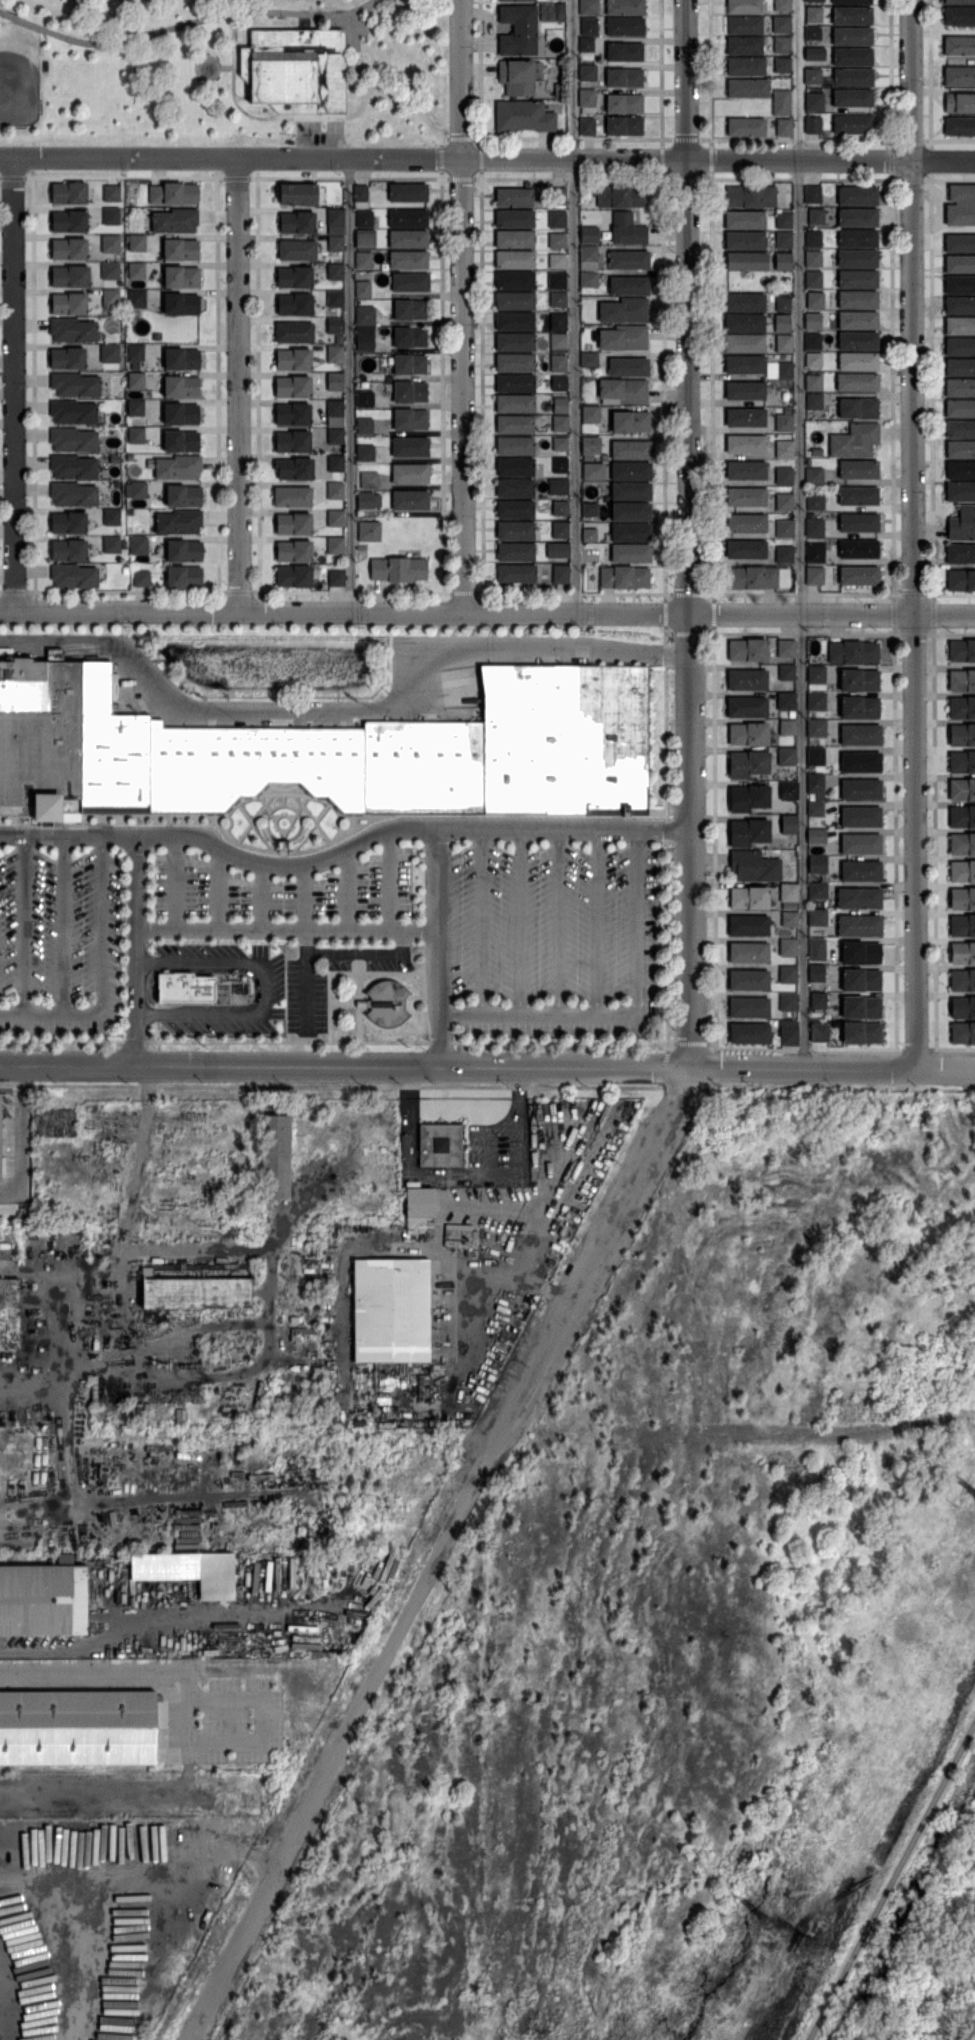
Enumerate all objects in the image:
building: (516, 0)
building: (813, 1)
building: (851, 2)
building: (959, 2)
building: (782, 5)
road: (356, 6)
building: (588, 7)
building: (624, 7)
building: (743, 7)
building: (559, 8)
road: (267, 11)
building: (813, 15)
building: (852, 16)
building: (959, 16)
building: (743, 25)
building: (781, 25)
building: (625, 26)
building: (589, 27)
building: (518, 30)
building: (812, 34)
building: (851, 36)
building: (586, 45)
building: (781, 45)
building: (743, 46)
building: (958, 46)
building: (624, 52)
building: (852, 57)
building: (782, 65)
building: (746, 67)
building: (295, 70)
park: (225, 71)
building: (587, 73)
building: (812, 76)
building: (519, 77)
building: (959, 77)
building: (624, 78)
building: (853, 78)
building: (748, 88)
building: (587, 98)
building: (852, 98)
building: (813, 102)
building: (959, 103)
building: (624, 104)
building: (781, 106)
building: (523, 116)
building: (853, 125)
building: (624, 126)
building: (812, 126)
building: (587, 127)
building: (745, 127)
building: (783, 127)
building: (959, 127)
road: (487, 159)
building: (407, 192)
building: (69, 193)
building: (111, 194)
building: (173, 194)
building: (298, 194)
building: (812, 195)
building: (555, 196)
building: (621, 196)
building: (857, 196)
building: (361, 197)
building: (750, 197)
building: (514, 198)
building: (960, 205)
building: (111, 216)
building: (335, 217)
building: (815, 217)
building: (857, 217)
building: (364, 218)
building: (408, 219)
building: (515, 219)
building: (557, 219)
building: (744, 220)
building: (175, 221)
building: (783, 221)
building: (69, 222)
building: (297, 222)
building: (625, 229)
building: (857, 238)
building: (365, 239)
building: (408, 239)
building: (813, 239)
building: (514, 240)
building: (556, 240)
building: (744, 241)
building: (783, 241)
building: (136, 243)
building: (959, 243)
building: (110, 244)
building: (336, 244)
building: (69, 249)
building: (180, 250)
building: (297, 250)
building: (588, 254)
building: (813, 259)
building: (857, 259)
building: (408, 260)
building: (515, 260)
building: (628, 260)
building: (363, 261)
building: (557, 261)
building: (746, 262)
building: (782, 262)
building: (960, 264)
building: (109, 271)
building: (136, 271)
building: (335, 272)
building: (70, 276)
building: (294, 277)
building: (182, 278)
building: (588, 279)
building: (812, 279)
building: (857, 279)
building: (514, 280)
building: (556, 281)
building: (409, 282)
building: (959, 284)
building: (629, 285)
building: (362, 289)
building: (110, 298)
building: (136, 299)
building: (335, 299)
building: (558, 299)
building: (814, 300)
building: (857, 300)
building: (515, 301)
building: (744, 303)
building: (68, 304)
building: (181, 304)
road: (462, 304)
building: (783, 304)
building: (294, 305)
road: (574, 305)
road: (687, 305)
building: (960, 305)
building: (409, 309)
building: (623, 310)
building: (364, 316)
building: (857, 320)
building: (514, 322)
building: (558, 322)
building: (812, 322)
building: (743, 323)
building: (782, 323)
building: (960, 326)
building: (335, 327)
building: (71, 330)
building: (294, 333)
building: (156, 337)
building: (409, 337)
building: (623, 337)
building: (337, 340)
building: (558, 341)
building: (812, 341)
building: (857, 341)
building: (364, 342)
building: (515, 342)
building: (744, 344)
building: (960, 346)
building: (110, 354)
building: (335, 354)
building: (135, 355)
building: (67, 358)
building: (181, 359)
building: (293, 359)
building: (588, 359)
building: (812, 360)
building: (857, 361)
building: (515, 363)
building: (558, 363)
building: (409, 364)
building: (744, 364)
building: (628, 367)
building: (960, 367)
building: (784, 370)
building: (136, 380)
building: (336, 381)
building: (856, 381)
road: (12, 383)
building: (515, 383)
building: (813, 383)
road: (238, 384)
road: (349, 384)
building: (559, 384)
building: (75, 385)
building: (181, 387)
building: (292, 387)
building: (959, 388)
building: (622, 391)
building: (744, 391)
building: (409, 392)
building: (364, 399)
building: (814, 401)
building: (515, 404)
building: (136, 407)
building: (858, 408)
building: (959, 408)
building: (334, 409)
building: (73, 412)
building: (809, 413)
building: (181, 414)
building: (292, 414)
building: (590, 414)
building: (745, 418)
building: (409, 419)
building: (629, 422)
building: (783, 422)
building: (560, 423)
building: (514, 425)
building: (365, 426)
building: (959, 429)
building: (136, 435)
building: (335, 436)
building: (73, 440)
building: (854, 440)
building: (181, 442)
building: (292, 442)
building: (560, 444)
building: (745, 444)
building: (515, 446)
building: (409, 447)
building: (784, 449)
building: (960, 449)
building: (631, 450)
building: (816, 452)
building: (365, 453)
building: (115, 459)
building: (807, 462)
building: (335, 464)
building: (559, 465)
building: (73, 467)
building: (177, 467)
building: (515, 467)
building: (293, 468)
building: (858, 469)
building: (960, 470)
building: (631, 471)
building: (745, 471)
building: (409, 473)
building: (813, 475)
building: (783, 476)
building: (369, 481)
building: (116, 484)
building: (558, 487)
building: (515, 489)
building: (138, 490)
building: (334, 491)
building: (630, 491)
building: (960, 491)
building: (73, 495)
building: (858, 496)
building: (182, 497)
building: (292, 497)
building: (745, 497)
building: (367, 500)
building: (409, 500)
building: (814, 502)
building: (784, 503)
building: (515, 509)
building: (560, 509)
building: (589, 510)
building: (630, 511)
building: (111, 517)
building: (335, 518)
building: (745, 522)
building: (178, 523)
building: (858, 523)
building: (68, 524)
building: (293, 524)
building: (962, 524)
building: (814, 527)
building: (784, 529)
building: (560, 530)
building: (515, 531)
building: (630, 532)
road: (800, 535)
road: (915, 535)
building: (584, 539)
building: (111, 545)
building: (137, 546)
building: (334, 546)
building: (362, 548)
building: (858, 549)
building: (68, 550)
building: (557, 550)
building: (746, 550)
building: (183, 551)
building: (294, 551)
building: (515, 552)
building: (814, 553)
building: (631, 554)
building: (784, 554)
building: (960, 554)
building: (590, 556)
building: (398, 569)
building: (125, 571)
building: (516, 574)
building: (560, 574)
building: (73, 576)
building: (814, 576)
building: (858, 576)
building: (183, 577)
building: (293, 577)
building: (623, 577)
building: (336, 578)
building: (752, 578)
building: (141, 579)
building: (960, 581)
road: (344, 610)
road: (832, 611)
building: (786, 649)
building: (747, 650)
building: (961, 651)
building: (852, 652)
building: (787, 673)
building: (816, 675)
building: (858, 680)
building: (747, 681)
building: (961, 681)
building: (785, 701)
building: (816, 701)
building: (747, 707)
building: (859, 708)
building: (962, 708)
road: (343, 710)
building: (787, 728)
building: (816, 728)
building: (748, 735)
building: (859, 735)
building: (961, 735)
building: (330, 751)
building: (786, 756)
building: (815, 756)
building: (861, 763)
building: (961, 763)
building: (747, 764)
building: (815, 782)
building: (962, 789)
building: (860, 790)
building: (788, 791)
building: (748, 798)
building: (815, 809)
building: (773, 810)
building: (860, 817)
building: (962, 817)
building: (788, 824)
road: (563, 828)
building: (748, 832)
road: (67, 834)
building: (816, 836)
road: (690, 839)
building: (860, 844)
building: (962, 844)
road: (286, 864)
building: (817, 864)
building: (753, 866)
building: (861, 872)
building: (962, 872)
road: (389, 879)
road: (174, 881)
road: (218, 888)
road: (347, 889)
building: (817, 891)
building: (788, 893)
road: (261, 896)
building: (749, 898)
building: (858, 898)
building: (962, 899)
building: (816, 917)
building: (789, 919)
road: (482, 920)
road: (520, 920)
road: (558, 921)
road: (597, 921)
road: (24, 923)
road: (63, 923)
building: (748, 926)
building: (859, 926)
building: (962, 926)
road: (286, 929)
road: (637, 941)
road: (101, 942)
road: (306, 946)
building: (787, 947)
road: (438, 948)
road: (135, 950)
building: (748, 953)
building: (859, 953)
building: (962, 953)
road: (366, 954)
building: (811, 958)
parking lot: (544, 968)
building: (816, 973)
building: (787, 975)
building: (748, 980)
building: (860, 980)
building: (962, 980)
parking lot: (225, 985)
building: (186, 986)
road: (262, 990)
parking lot: (307, 1000)
building: (818, 1001)
building: (788, 1002)
building: (385, 1004)
building: (749, 1007)
building: (860, 1008)
building: (962, 1008)
road: (31, 1012)
road: (518, 1013)
building: (819, 1032)
building: (860, 1032)
building: (748, 1033)
building: (962, 1033)
building: (788, 1034)
road: (68, 1066)
road: (287, 1068)
road: (707, 1069)
building: (54, 1123)
road: (22, 1141)
building: (439, 1145)
building: (0, 1150)
building: (274, 1157)
road: (462, 1177)
building: (419, 1202)
road: (129, 1212)
building: (193, 1288)
building: (390, 1310)
building: (8, 1313)
road: (54, 1373)
road: (440, 1554)
building: (42, 1601)
road: (50, 1649)
road: (103, 1671)
building: (78, 1724)
park: (78, 1724)
road: (258, 1745)
road: (893, 1884)
power tower: (776, 1927)
power tower: (812, 1949)

